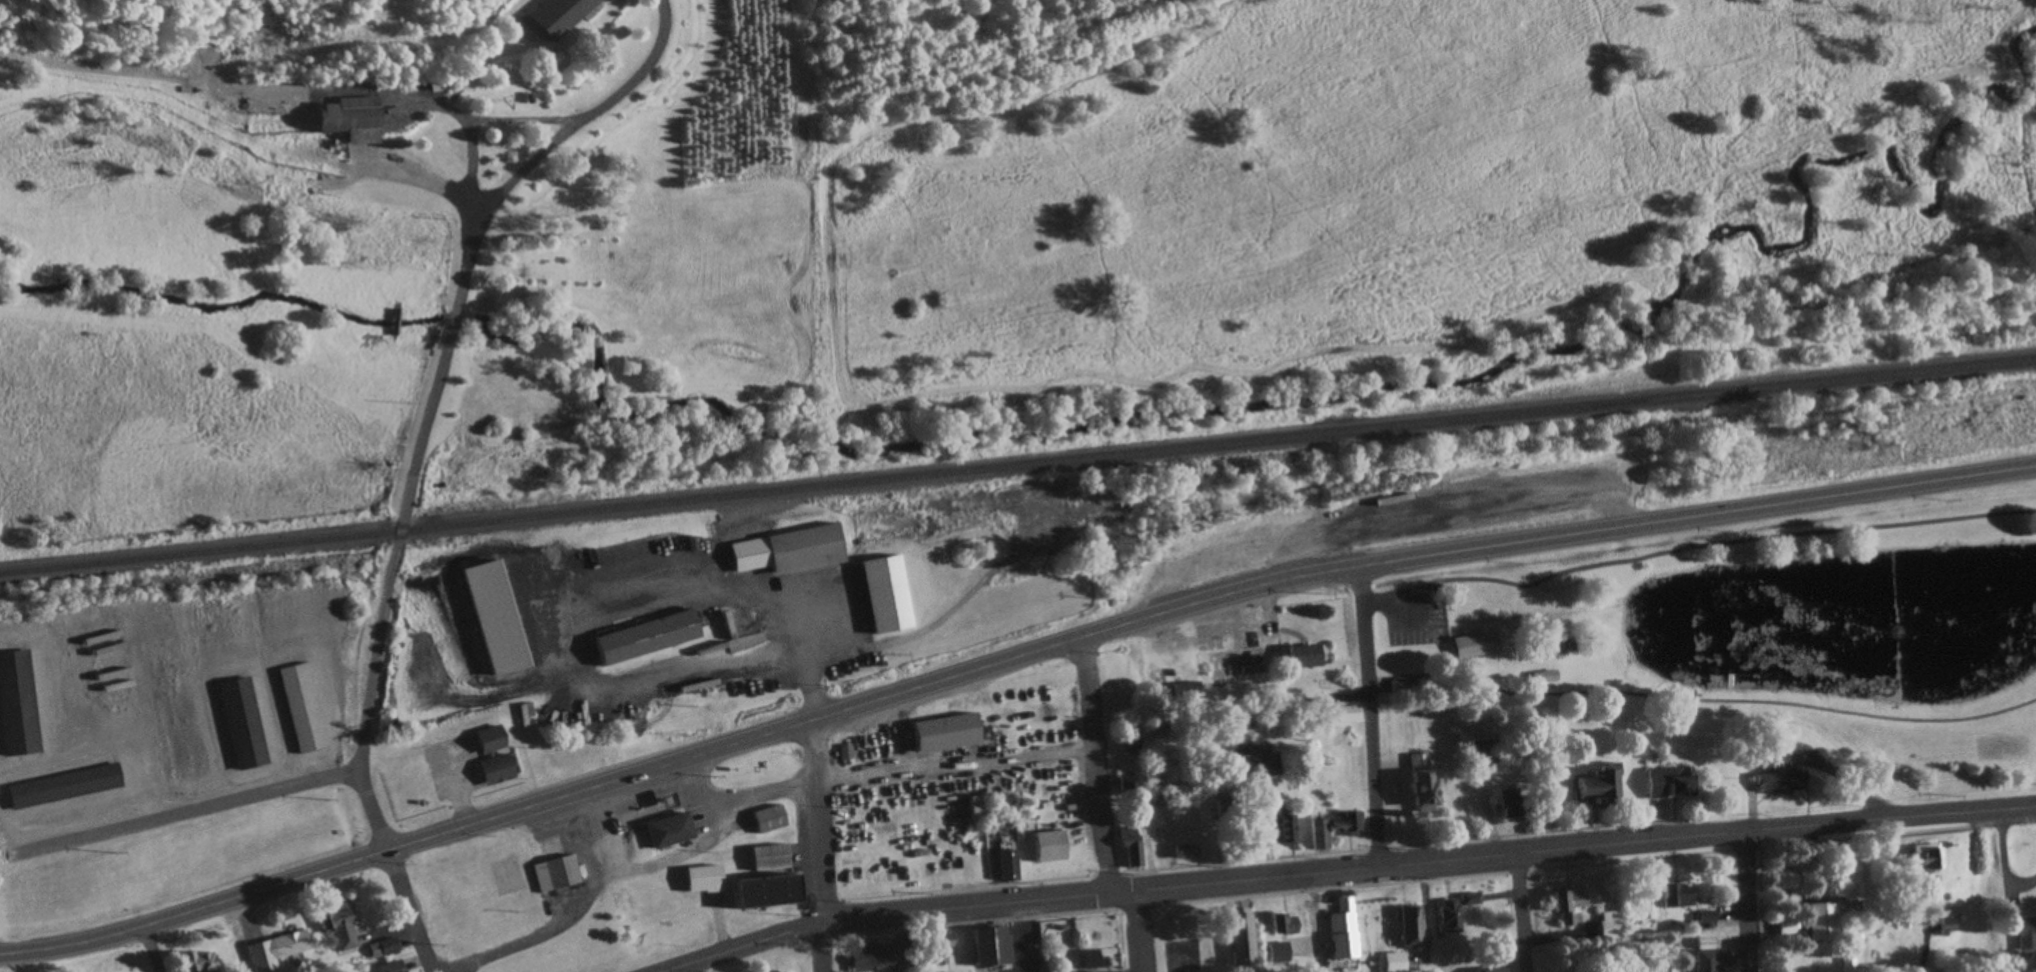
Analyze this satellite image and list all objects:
building: (562, 17)
road: (184, 84)
building: (441, 86)
road: (596, 117)
road: (478, 121)
building: (353, 123)
road: (477, 166)
road: (440, 382)
railway: (1018, 467)
road: (1700, 516)
road: (1457, 522)
building: (806, 550)
building: (888, 594)
parking lot: (1418, 615)
park: (1758, 632)
building: (648, 637)
building: (1478, 646)
building: (1306, 656)
road: (582, 657)
building: (1239, 663)
building: (111, 664)
building: (1547, 678)
building: (1402, 685)
building: (1189, 692)
road: (1349, 698)
road: (1732, 701)
road: (371, 703)
building: (18, 705)
building: (305, 708)
building: (1348, 714)
road: (1370, 716)
building: (245, 724)
building: (949, 733)
building: (1137, 741)
building: (1252, 750)
building: (1482, 752)
road: (683, 761)
road: (1100, 766)
building: (1778, 770)
building: (496, 771)
building: (1423, 783)
building: (1668, 783)
building: (66, 787)
building: (1599, 787)
building: (1131, 789)
building: (1514, 806)
building: (983, 808)
road: (187, 814)
building: (773, 819)
building: (1348, 822)
building: (672, 830)
building: (1286, 830)
building: (1323, 834)
building: (1135, 845)
road: (824, 846)
building: (1053, 847)
building: (1189, 852)
building: (773, 857)
building: (1926, 860)
building: (1012, 863)
road: (1347, 869)
building: (558, 874)
building: (1851, 877)
building: (707, 879)
building: (1789, 880)
building: (769, 891)
building: (1679, 895)
park: (596, 898)
building: (1471, 899)
road: (1749, 901)
building: (1571, 905)
road: (414, 911)
building: (1350, 912)
road: (1525, 912)
building: (1452, 916)
building: (1824, 921)
building: (1284, 922)
road: (1318, 923)
building: (1611, 925)
building: (342, 926)
building: (1414, 927)
building: (1948, 927)
road: (1144, 931)
building: (2028, 933)
building: (1244, 938)
building: (1350, 941)
building: (995, 947)
building: (385, 948)
road: (156, 949)
building: (278, 950)
building: (1282, 953)
building: (874, 958)
building: (1098, 958)
building: (200, 961)
building: (1708, 961)
road: (19, 962)
building: (1398, 962)
building: (394, 967)
building: (1496, 970)
building: (1645, 971)

